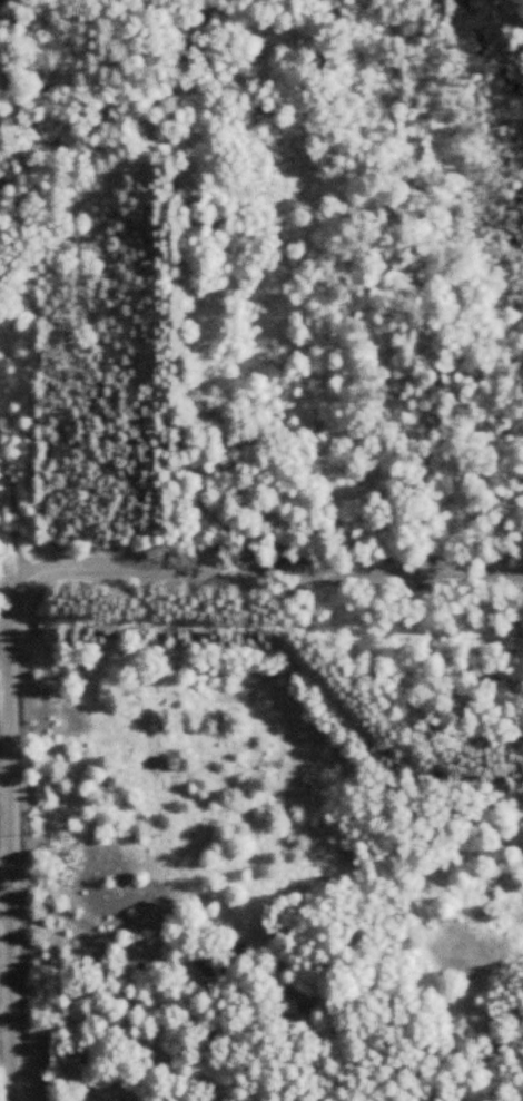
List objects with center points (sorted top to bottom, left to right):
road: (272, 574)
road: (10, 580)
road: (11, 839)
road: (6, 902)
building: (288, 1003)

